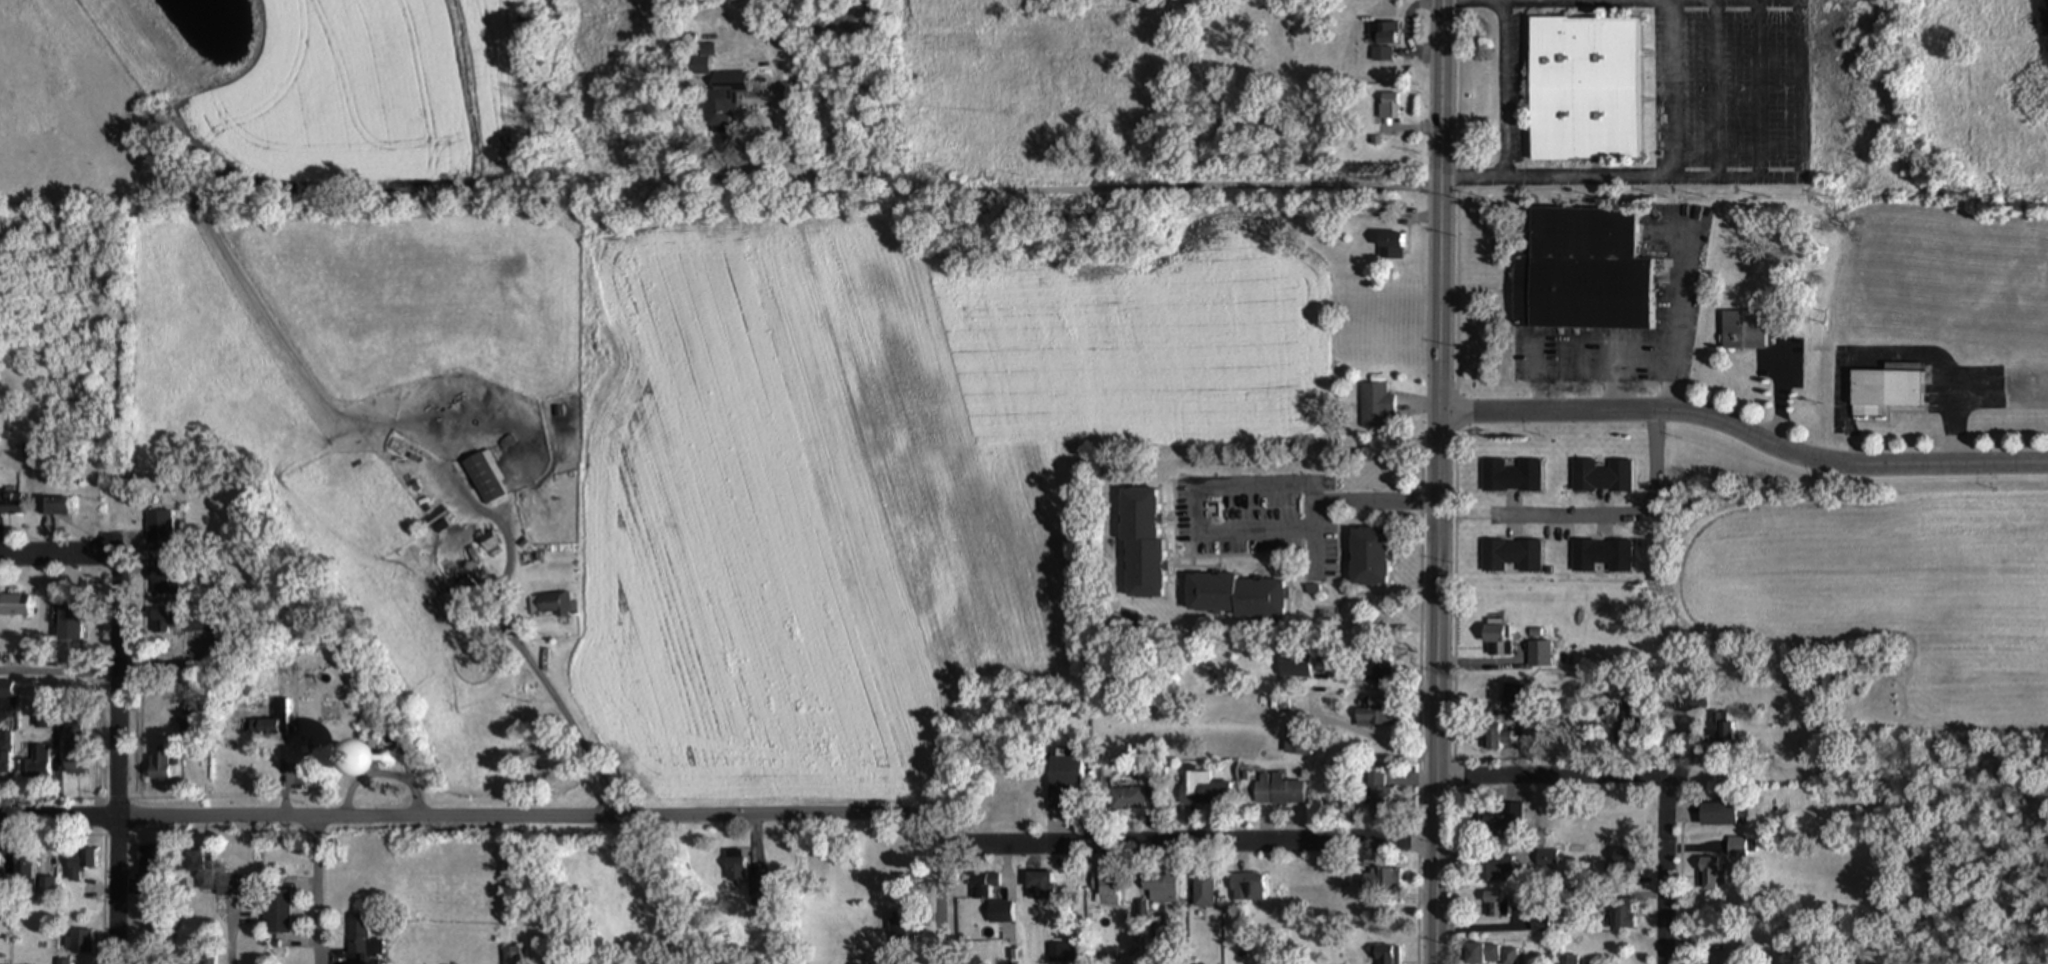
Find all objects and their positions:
road: (1501, 2)
building: (1382, 40)
building: (701, 60)
building: (1583, 76)
building: (722, 97)
park: (264, 100)
road: (1505, 104)
building: (1389, 107)
road: (1802, 155)
road: (1670, 169)
road: (1062, 188)
building: (1390, 247)
building: (1583, 261)
road: (1681, 314)
building: (1743, 330)
road: (1892, 354)
road: (1540, 375)
road: (1618, 375)
building: (1885, 391)
road: (1781, 392)
building: (1372, 396)
road: (1746, 432)
building: (1510, 476)
building: (484, 477)
building: (1601, 477)
road: (1440, 481)
road: (1453, 481)
road: (1332, 487)
building: (11, 505)
building: (53, 507)
road: (1166, 513)
road: (1621, 516)
road: (1171, 523)
building: (158, 526)
road: (1246, 531)
building: (1141, 533)
building: (1368, 546)
road: (1268, 550)
road: (1270, 550)
road: (1339, 550)
road: (60, 553)
road: (1191, 553)
building: (1510, 553)
building: (1558, 554)
building: (1602, 554)
road: (1170, 562)
road: (1329, 573)
road: (1335, 579)
crop: (1871, 583)
building: (1234, 585)
road: (1335, 596)
building: (12, 606)
building: (550, 606)
building: (187, 622)
building: (68, 631)
building: (1497, 640)
building: (1539, 655)
building: (1293, 665)
building: (1378, 668)
road: (59, 674)
road: (136, 676)
railway: (495, 686)
building: (5, 691)
road: (1416, 707)
building: (1374, 712)
road: (561, 714)
building: (273, 722)
building: (1718, 730)
building: (1494, 737)
building: (1298, 741)
building: (74, 751)
building: (4, 753)
building: (353, 757)
road: (118, 758)
water tower: (386, 758)
building: (35, 764)
building: (159, 765)
road: (379, 770)
road: (1548, 775)
building: (1100, 777)
building: (1066, 782)
building: (1153, 791)
building: (1202, 791)
building: (1279, 791)
road: (166, 792)
building: (1378, 792)
building: (1127, 799)
road: (722, 812)
building: (1725, 815)
building: (1493, 824)
road: (98, 849)
building: (1624, 860)
building: (1547, 862)
building: (80, 863)
building: (1494, 867)
building: (734, 868)
building: (147, 869)
road: (1661, 870)
building: (23, 873)
building: (1712, 874)
building: (215, 875)
building: (1383, 880)
building: (1039, 886)
building: (1106, 886)
building: (47, 887)
road: (318, 887)
building: (983, 887)
building: (1247, 887)
road: (939, 888)
building: (1159, 889)
building: (1203, 892)
building: (1495, 905)
building: (278, 912)
building: (994, 913)
building: (1623, 914)
building: (902, 929)
building: (357, 936)
building: (78, 943)
building: (1388, 955)
building: (1491, 955)
building: (511, 956)
building: (1567, 960)
building: (63, 962)

